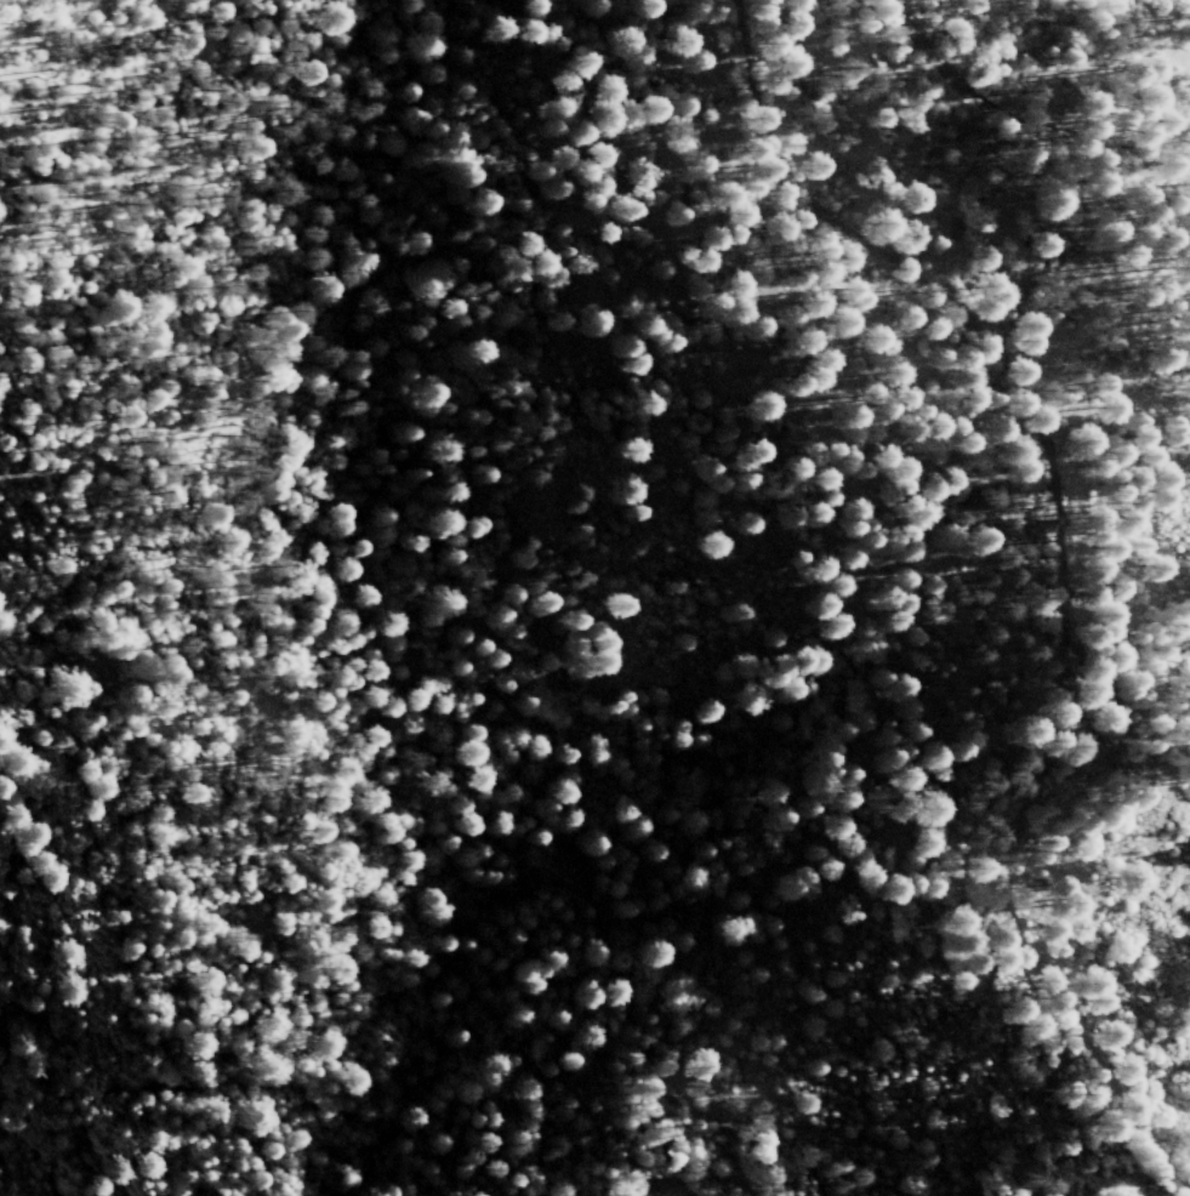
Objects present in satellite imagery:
road: (1014, 127)
road: (1064, 566)

